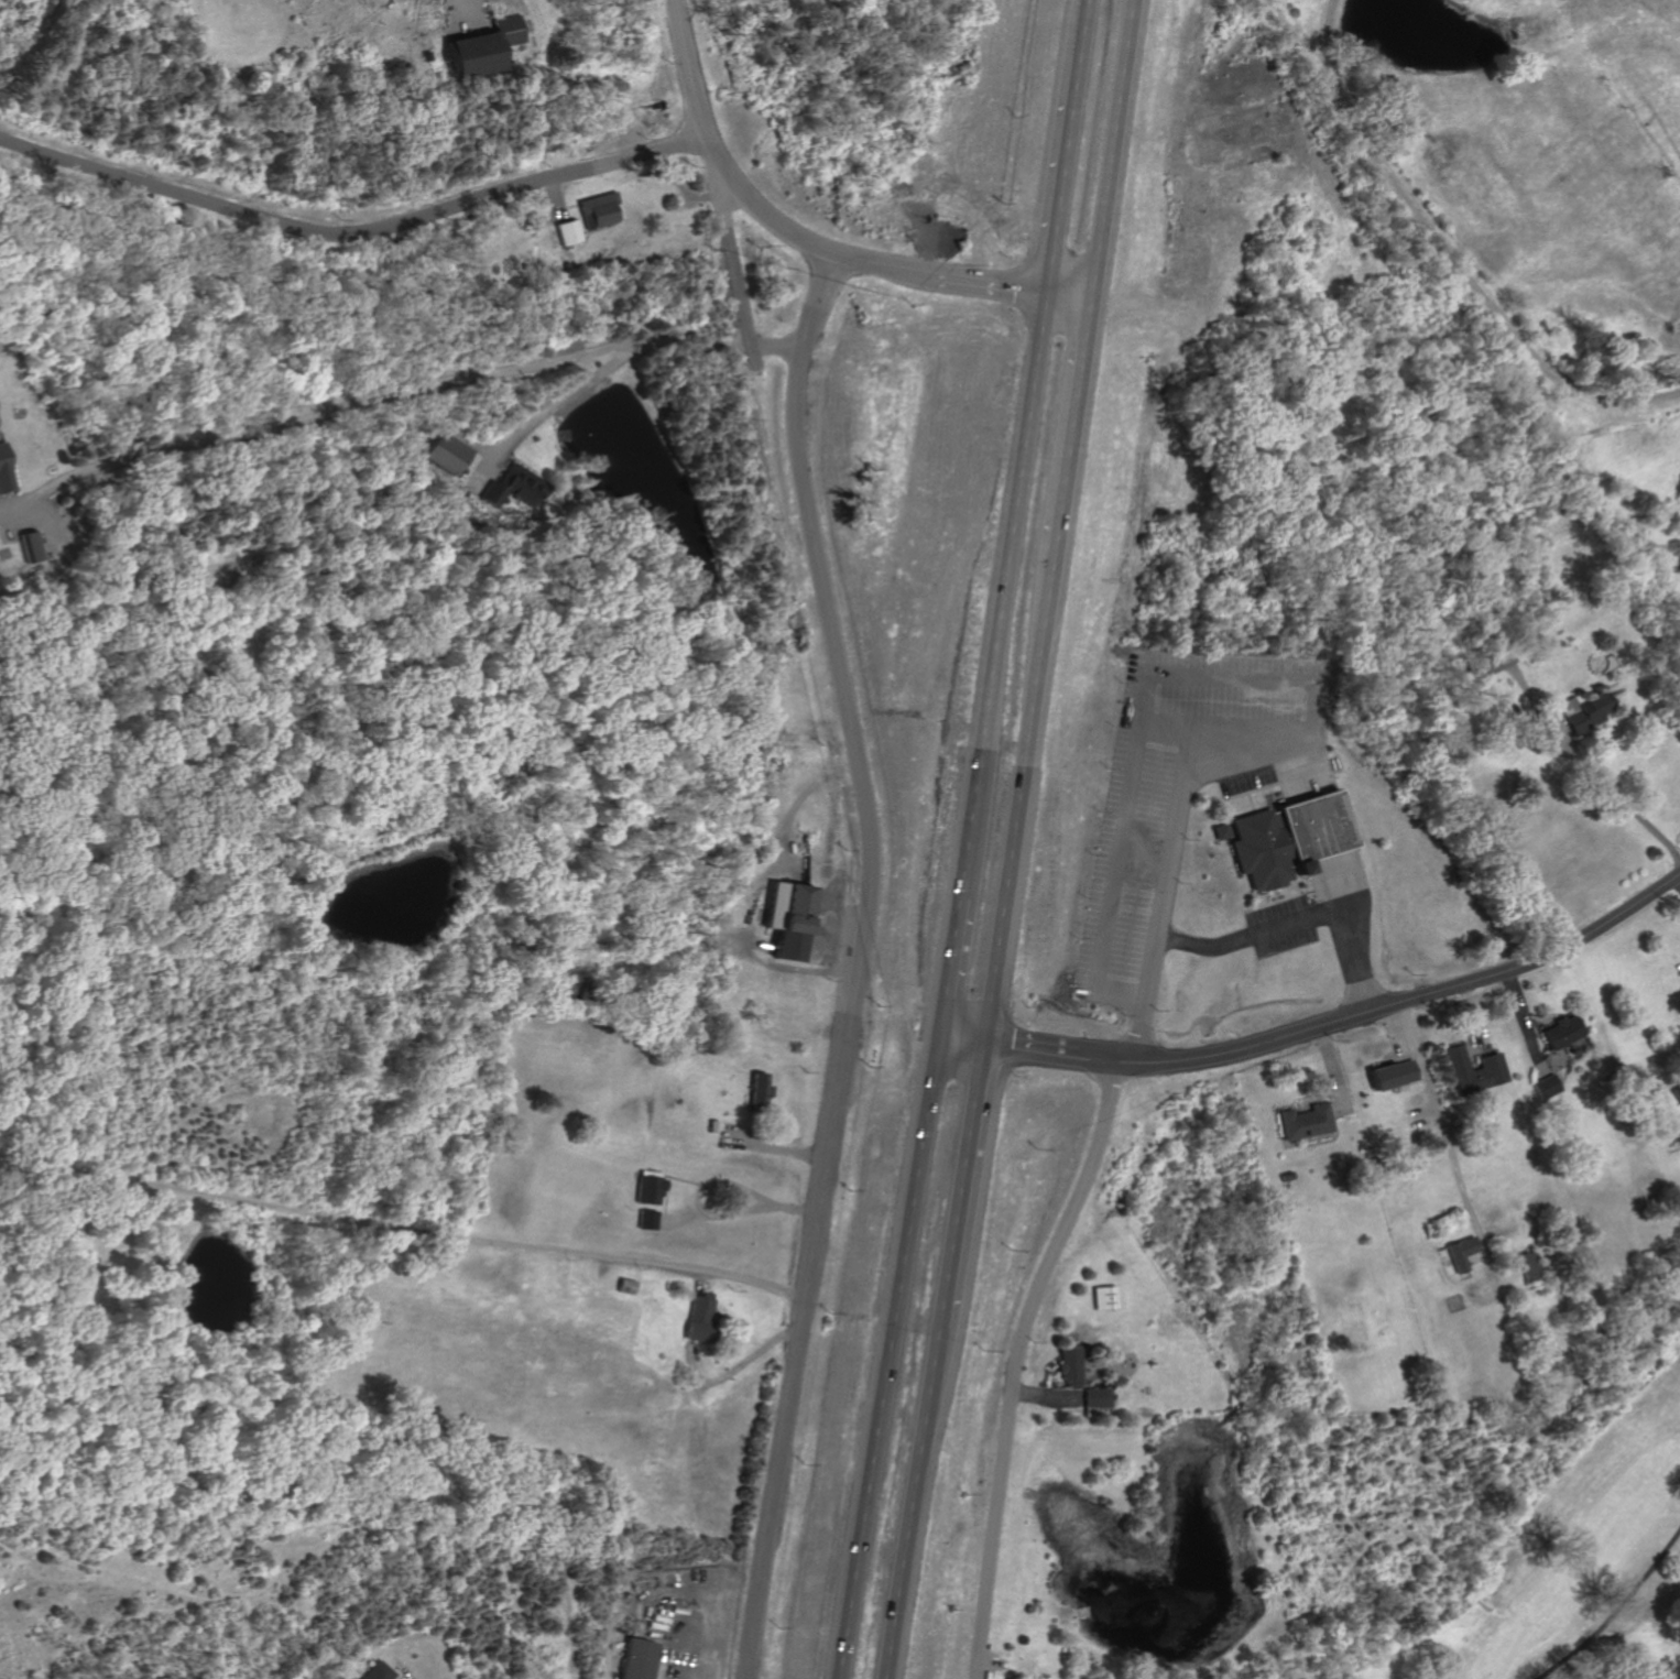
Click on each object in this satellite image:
road: (1074, 28)
building: (479, 47)
road: (691, 70)
road: (1103, 150)
road: (1052, 174)
building: (570, 232)
road: (352, 238)
road: (800, 240)
road: (1450, 253)
road: (735, 263)
road: (983, 285)
road: (1057, 296)
road: (774, 349)
road: (389, 394)
road: (560, 404)
road: (1062, 425)
building: (445, 454)
building: (3, 472)
building: (511, 487)
building: (31, 546)
road: (814, 552)
road: (993, 592)
building: (1491, 666)
road: (1164, 675)
road: (1528, 687)
building: (1585, 710)
road: (1523, 719)
road: (1263, 763)
road: (1310, 770)
road: (1268, 786)
parking lot: (1180, 793)
road: (1013, 794)
road: (1252, 802)
road: (1629, 805)
road: (790, 807)
road: (1241, 814)
building: (1221, 831)
road: (1171, 835)
building: (1288, 838)
road: (1145, 851)
road: (822, 853)
road: (1342, 876)
road: (1319, 887)
road: (1276, 894)
road: (1283, 898)
flagpole: (1311, 900)
building: (786, 919)
parking lot: (1281, 926)
road: (1243, 938)
road: (939, 961)
road: (1392, 1002)
road: (1475, 1023)
road: (1526, 1023)
road: (1395, 1032)
building: (1562, 1032)
road: (954, 1035)
road: (1030, 1048)
building: (1490, 1069)
road: (1334, 1071)
building: (1392, 1076)
building: (1547, 1087)
building: (757, 1090)
building: (1677, 1091)
building: (1303, 1122)
road: (1446, 1137)
road: (710, 1178)
road: (960, 1182)
building: (648, 1191)
building: (646, 1221)
road: (401, 1229)
building: (1458, 1254)
building: (1531, 1265)
road: (808, 1266)
building: (1103, 1296)
building: (698, 1319)
road: (883, 1354)
road: (743, 1359)
road: (1016, 1362)
building: (1068, 1365)
road: (1047, 1397)
building: (1094, 1400)
road: (913, 1502)
park: (1503, 1517)
park: (1582, 1569)
road: (1617, 1611)
building: (640, 1659)
road: (989, 1660)
building: (381, 1671)

